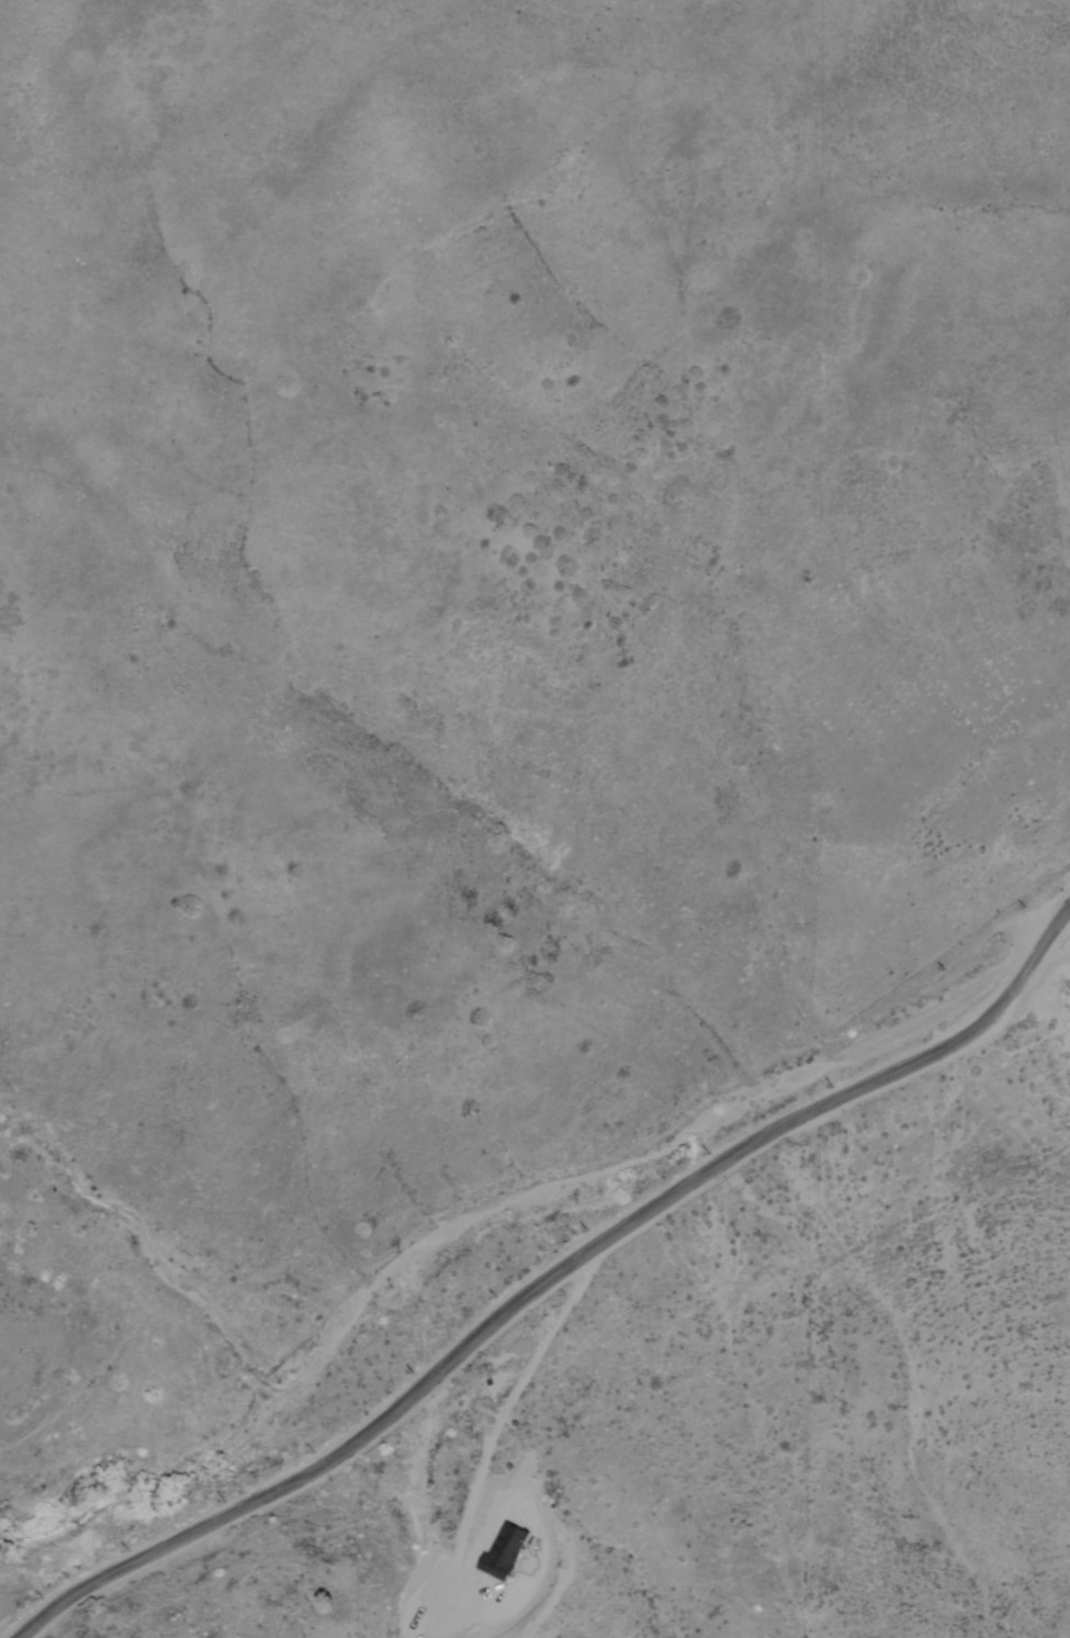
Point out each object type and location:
road: (1025, 971)
road: (1017, 1053)
road: (489, 1325)
road: (487, 1445)
building: (504, 1549)

